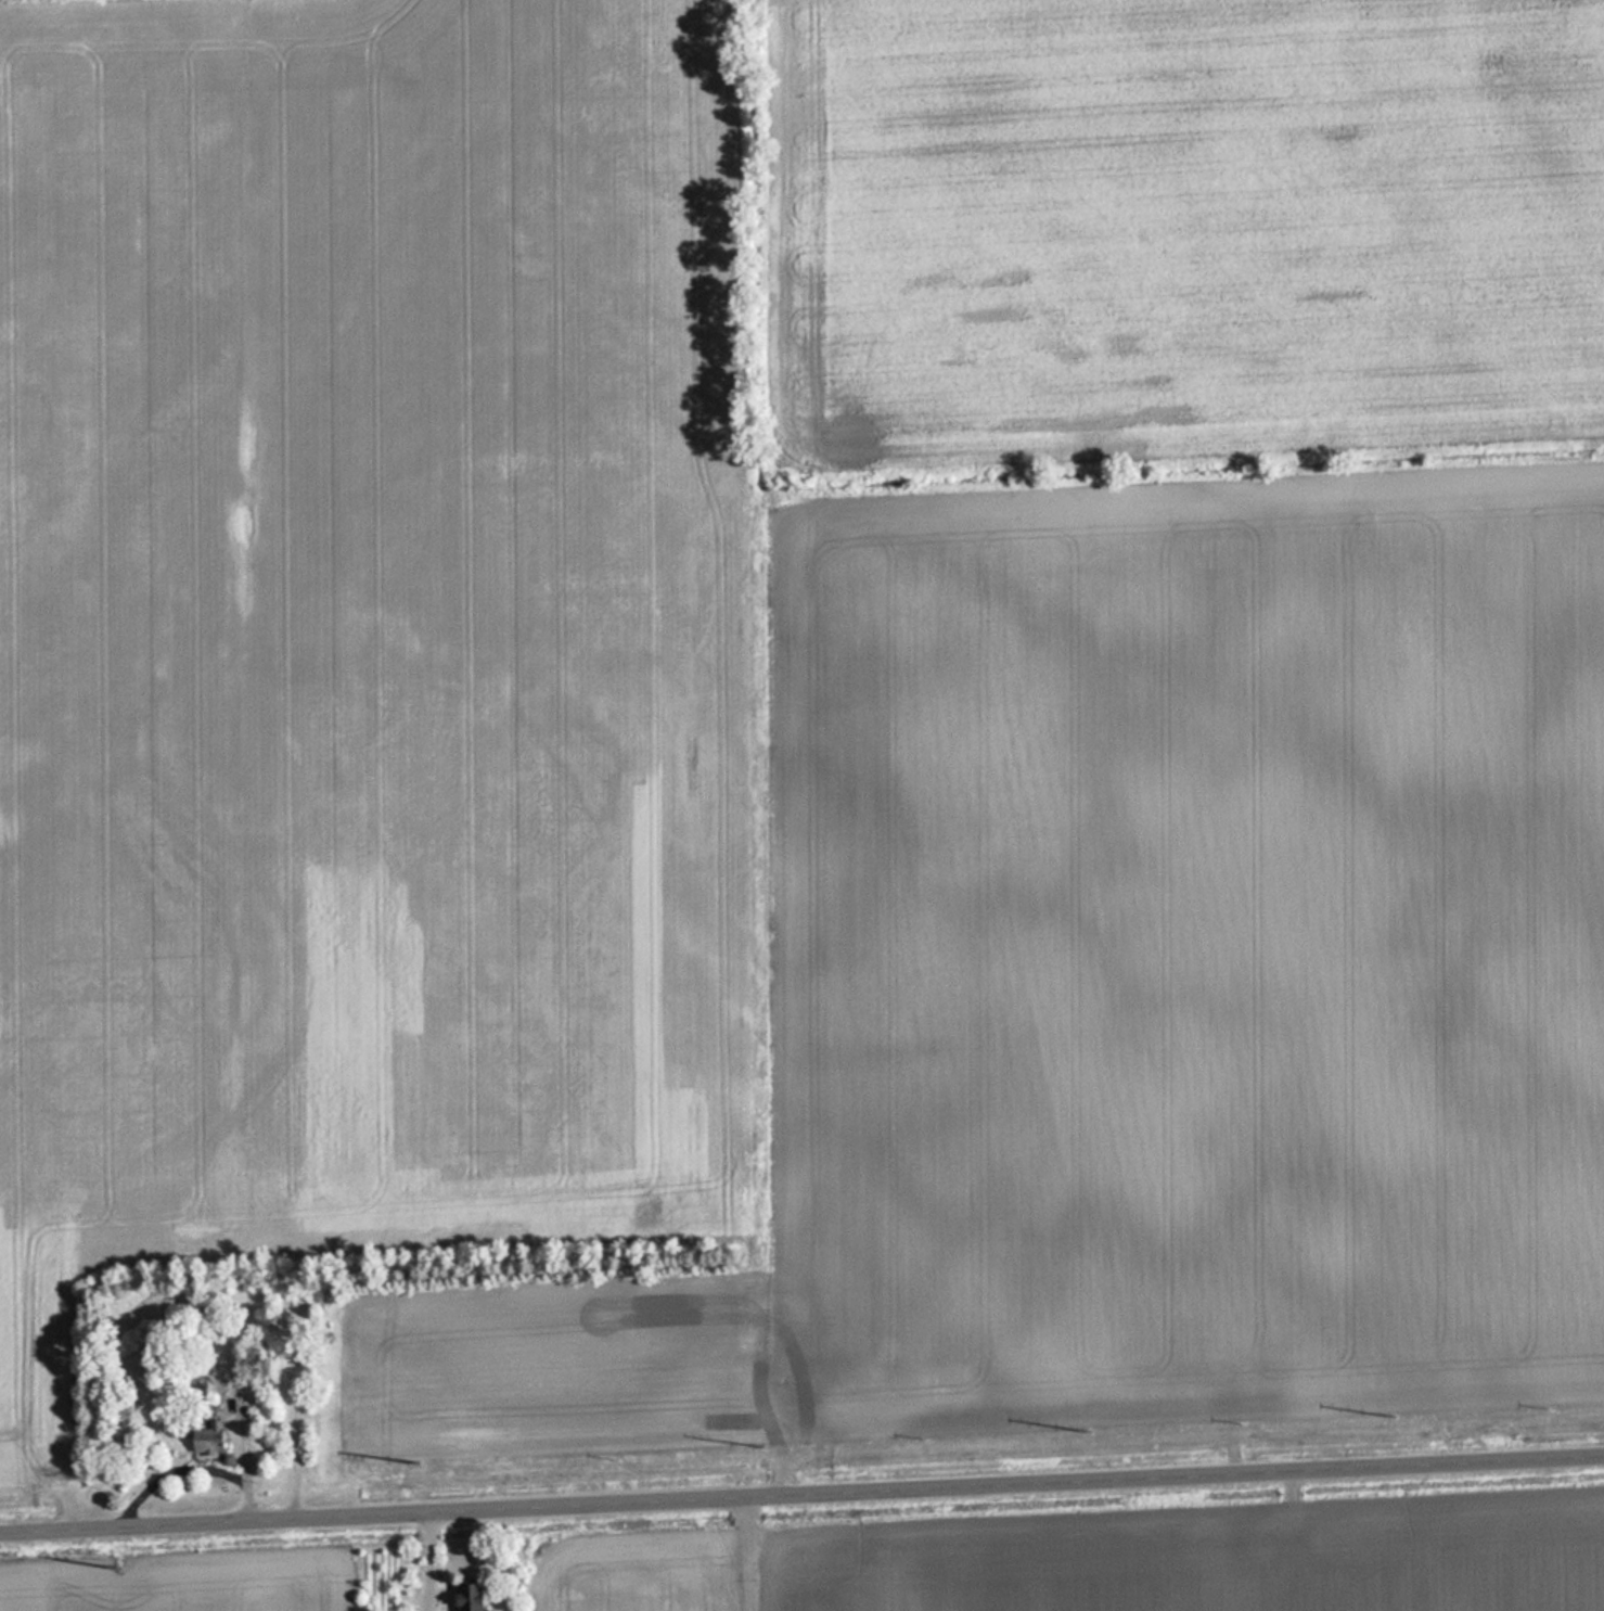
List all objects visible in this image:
power tower: (1395, 1414)
power tower: (1087, 1430)
building: (205, 1437)
power tower: (763, 1446)
power tower: (416, 1460)
road: (801, 1491)
road: (763, 1551)
power tower: (124, 1565)
building: (465, 1597)

